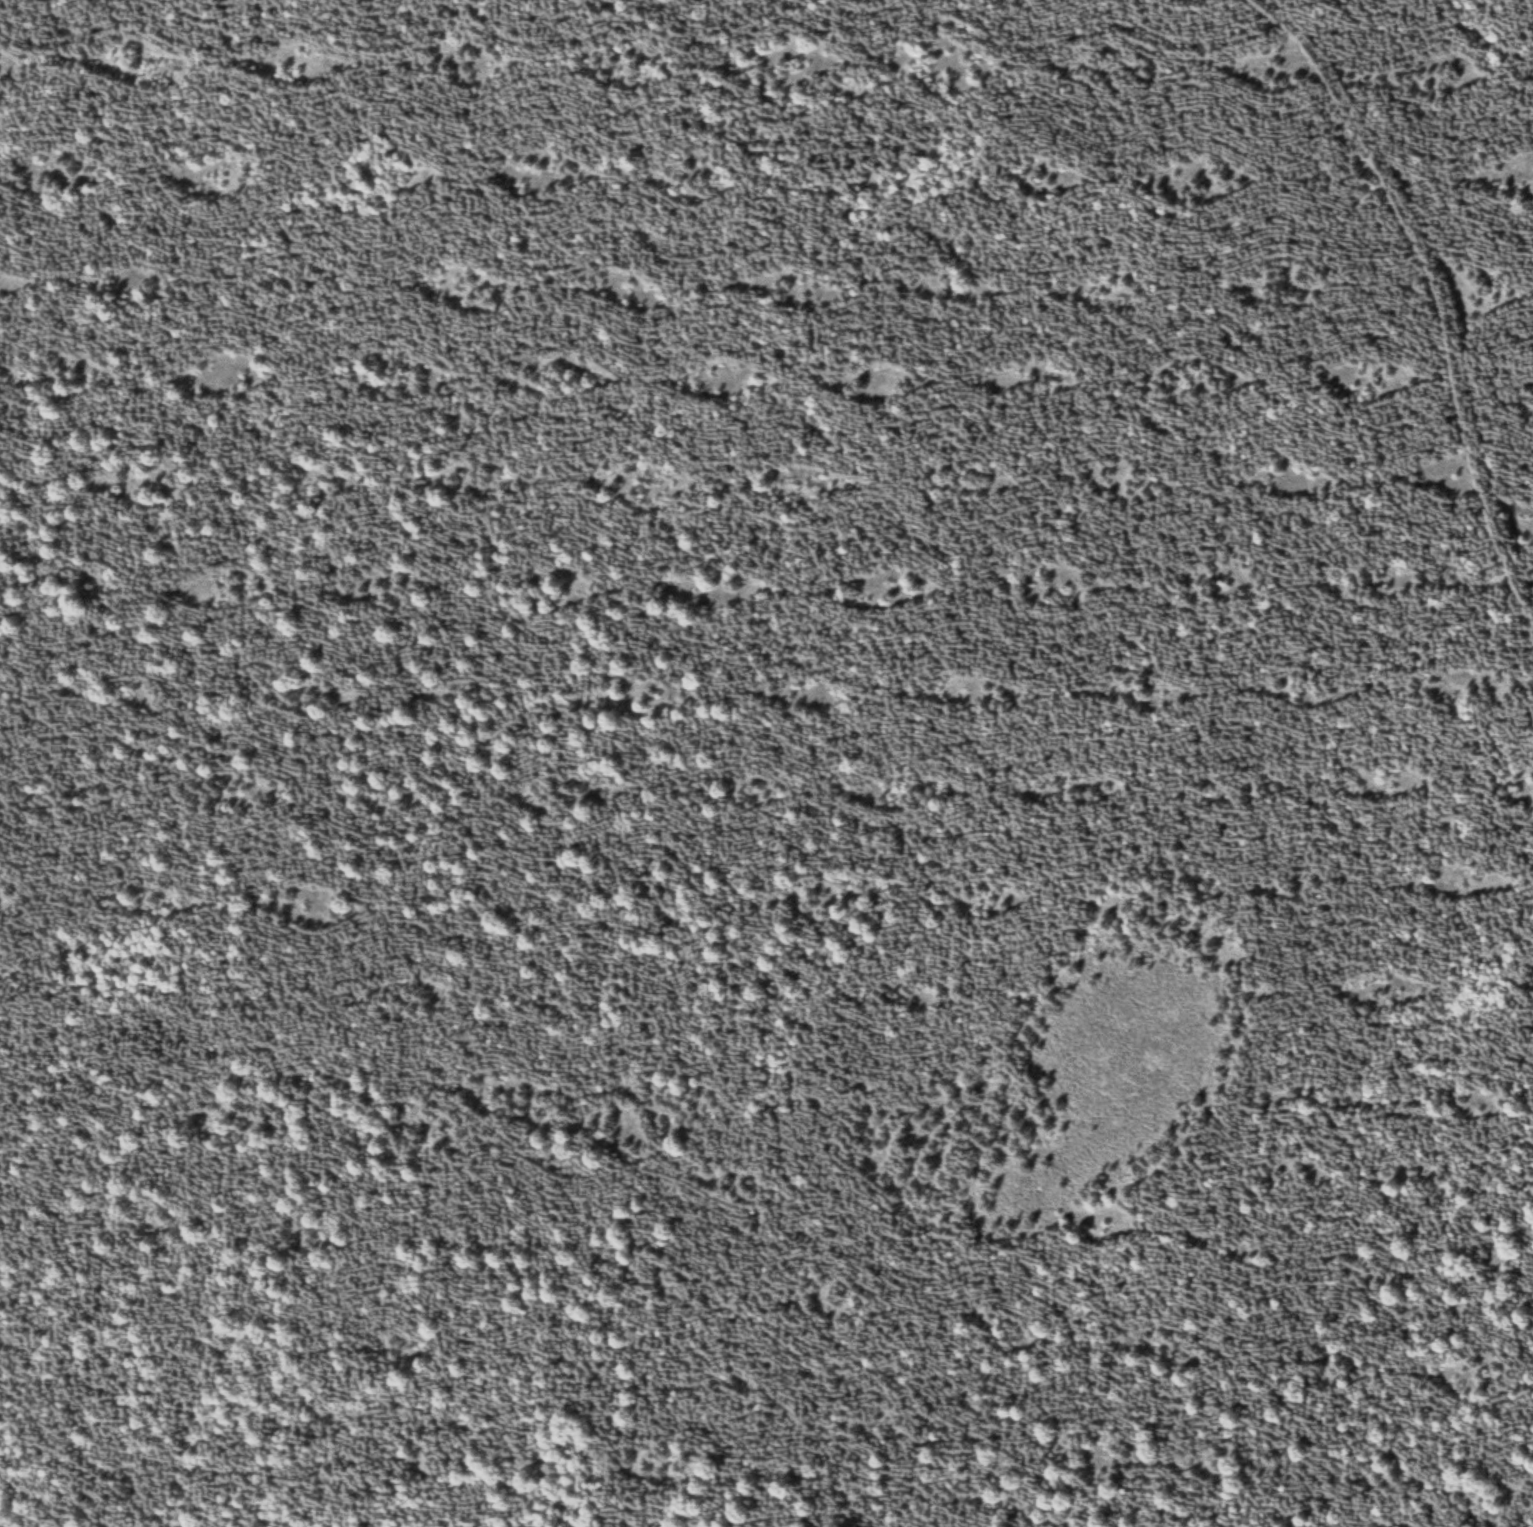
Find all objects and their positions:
road: (1449, 311)

